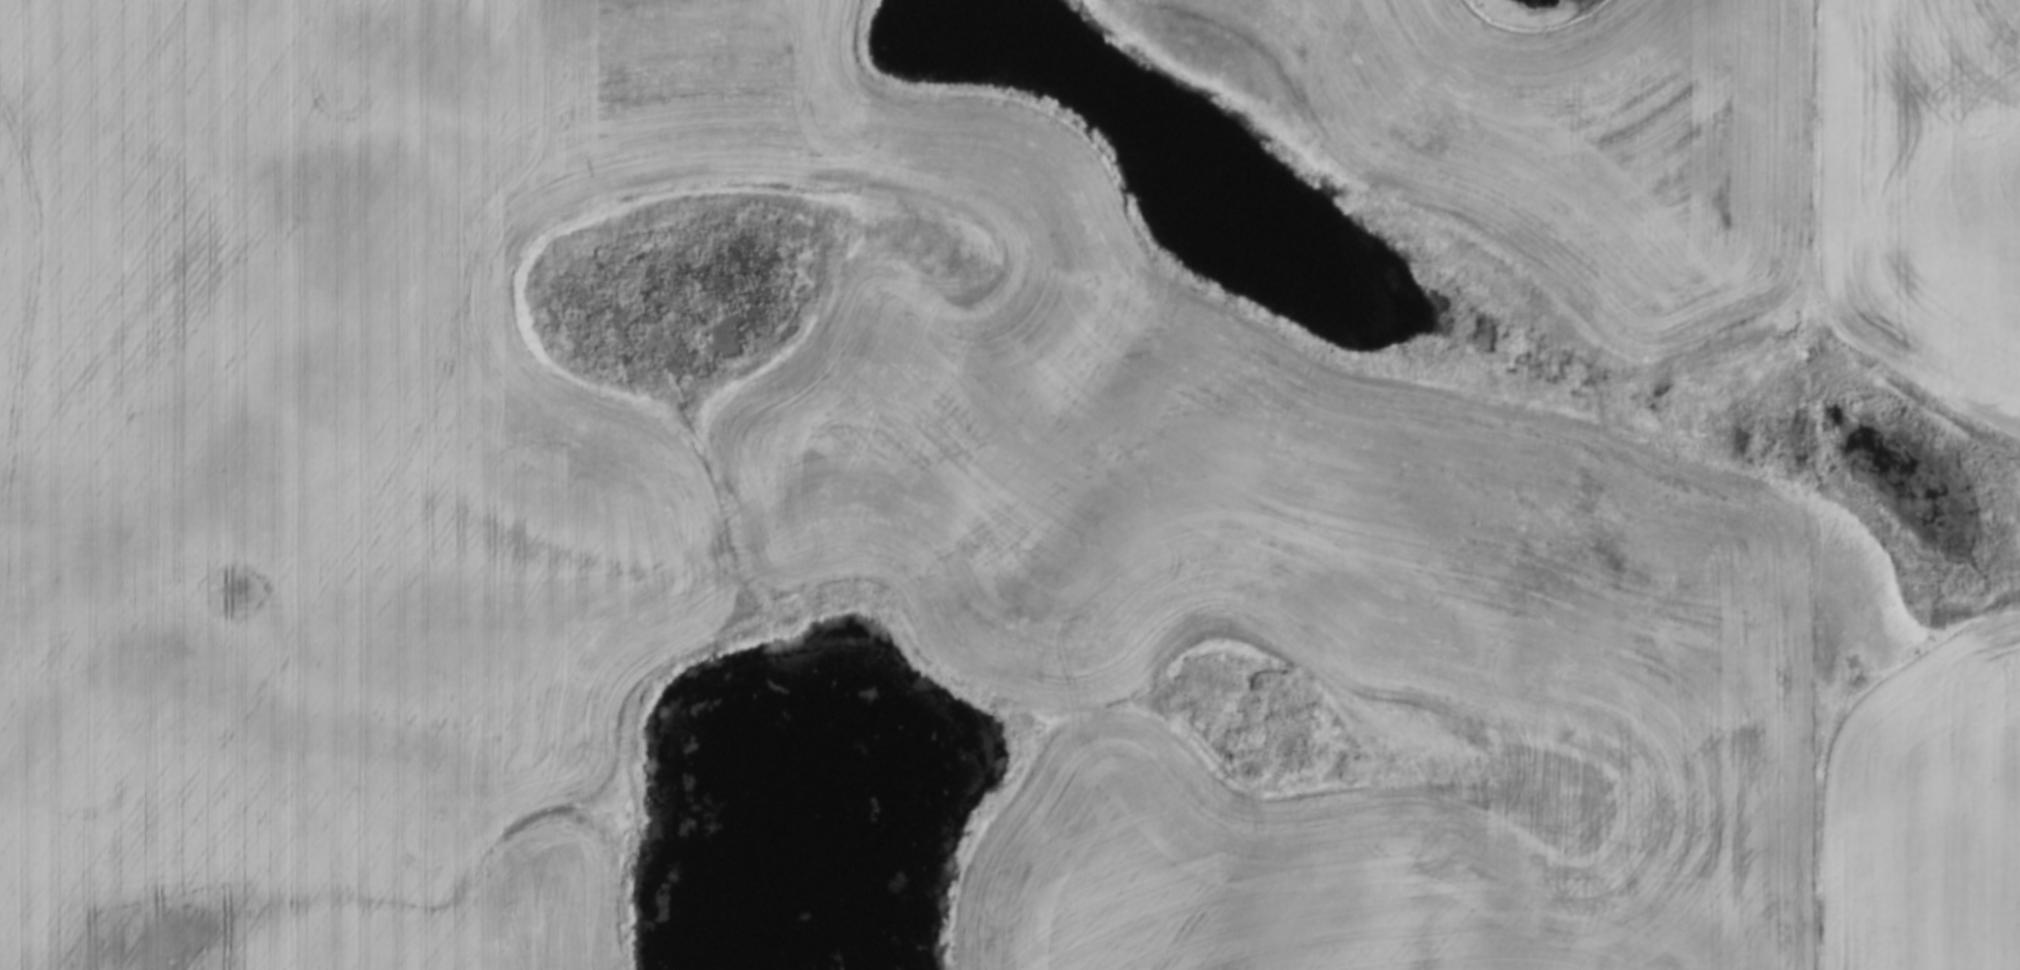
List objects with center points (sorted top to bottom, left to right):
road: (1831, 740)

